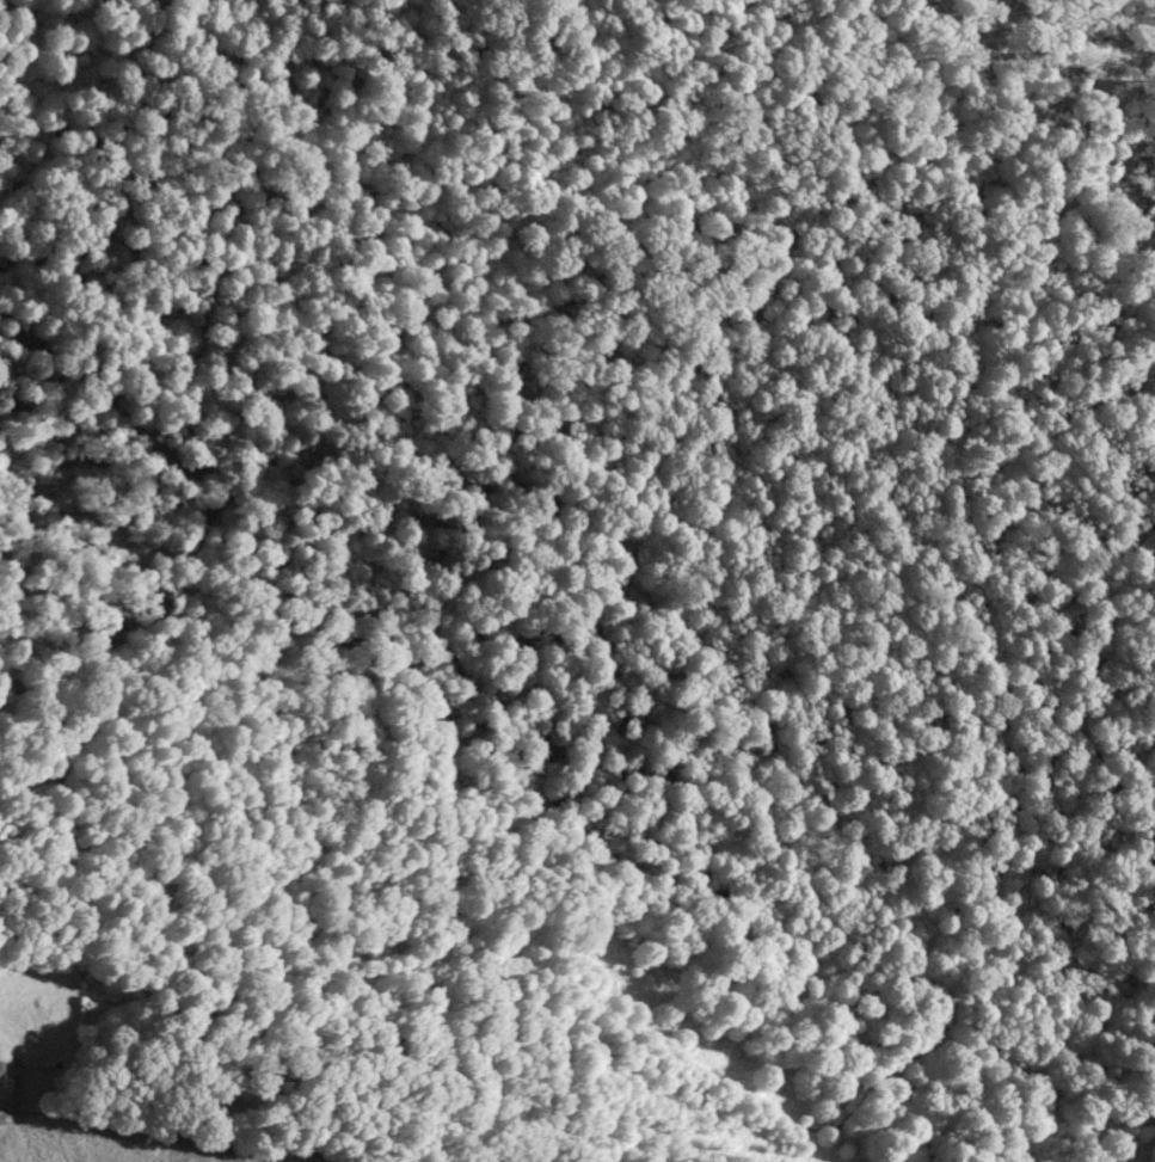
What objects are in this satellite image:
building: (0, 1066)
road: (103, 1129)

